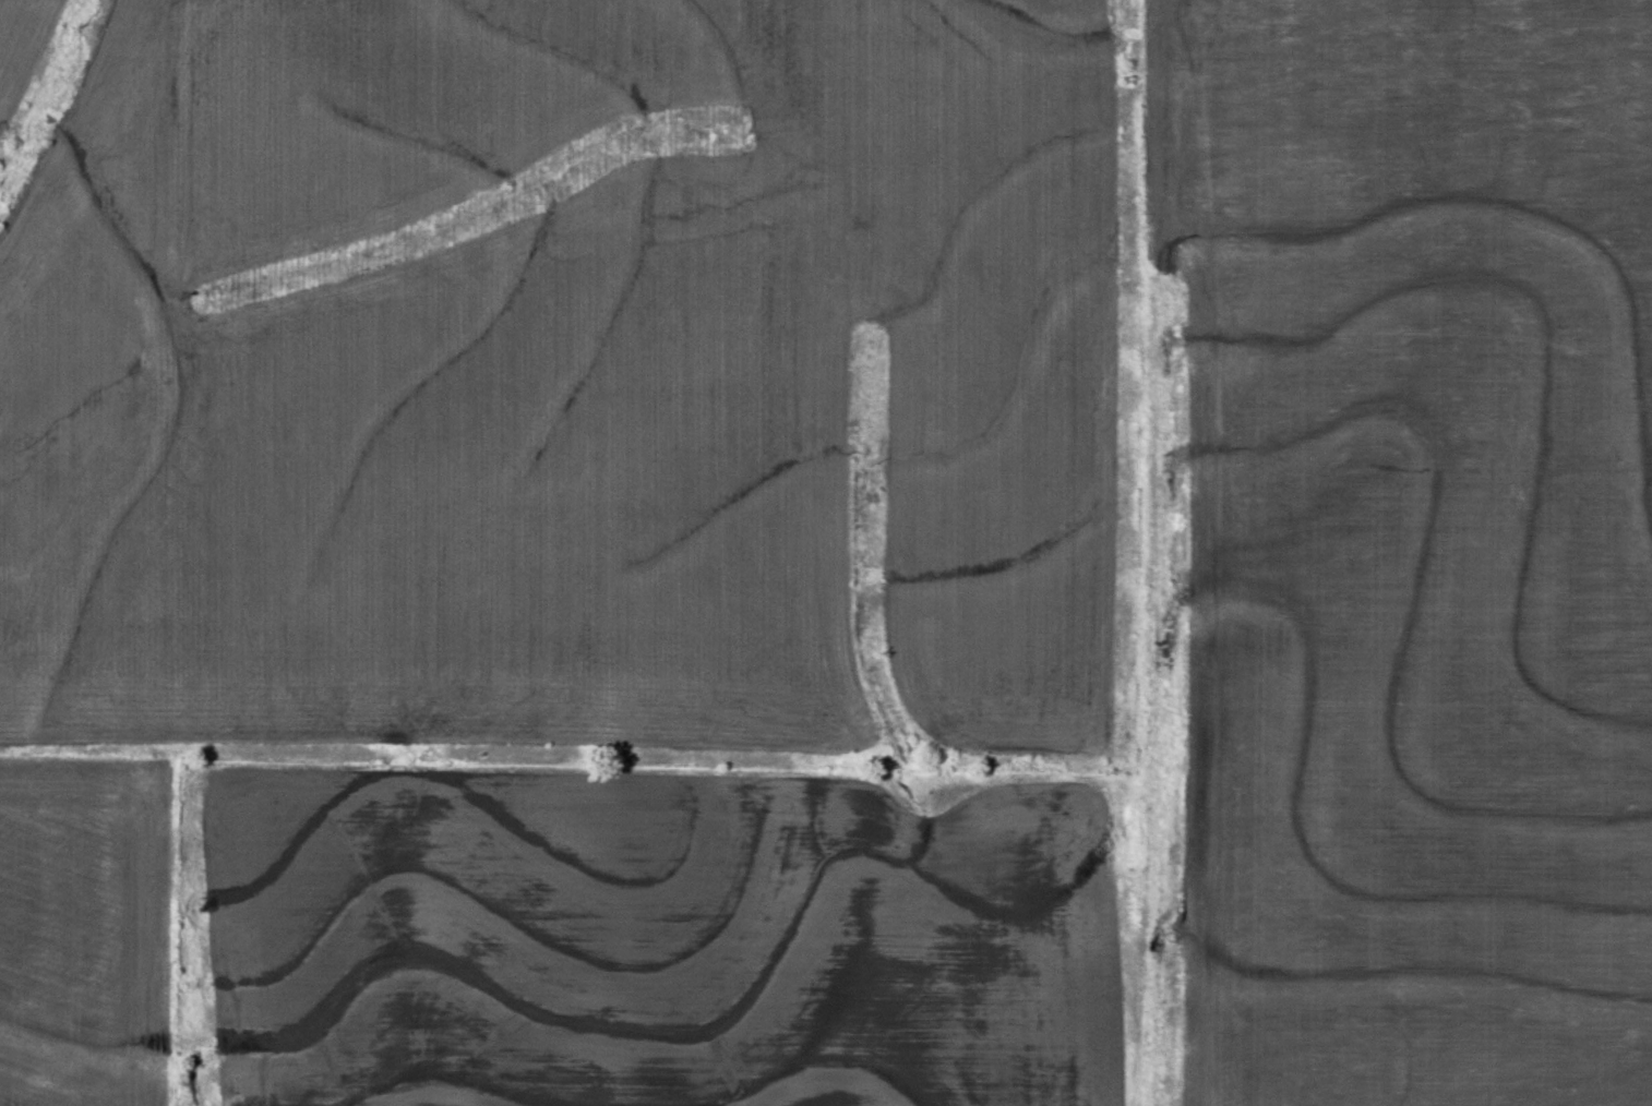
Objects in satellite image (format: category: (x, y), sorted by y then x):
crop: (1413, 545)

